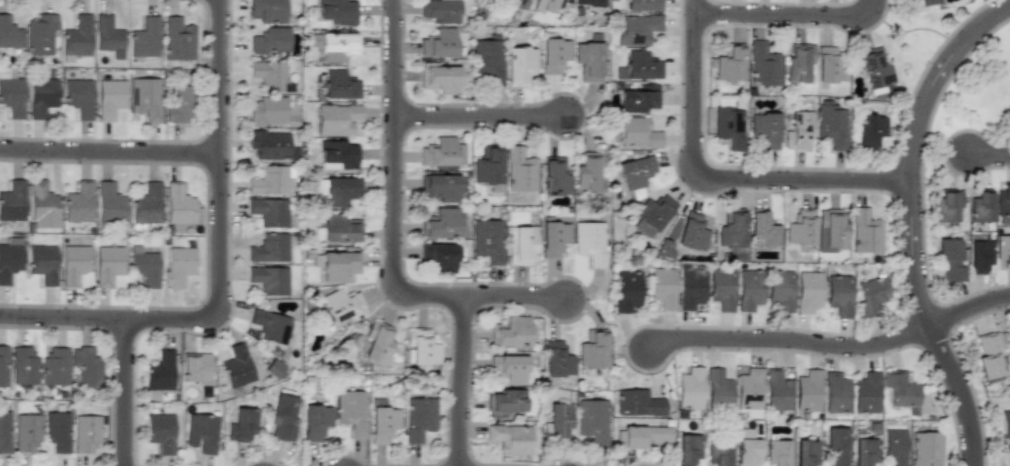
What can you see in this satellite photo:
building: (518, 0)
building: (905, 0)
building: (588, 2)
building: (929, 2)
building: (545, 5)
building: (643, 5)
building: (268, 10)
building: (441, 10)
building: (339, 11)
road: (789, 16)
building: (637, 29)
building: (9, 33)
building: (40, 34)
building: (107, 34)
building: (77, 36)
building: (145, 38)
building: (179, 40)
building: (270, 40)
building: (439, 43)
building: (338, 46)
building: (555, 55)
building: (589, 59)
building: (488, 60)
building: (797, 63)
building: (730, 64)
building: (763, 64)
building: (827, 64)
building: (519, 65)
building: (874, 68)
building: (270, 76)
building: (439, 78)
building: (340, 85)
building: (12, 93)
building: (42, 96)
building: (79, 97)
park: (978, 97)
building: (110, 98)
building: (146, 98)
building: (639, 99)
building: (178, 104)
building: (268, 111)
road: (477, 117)
building: (337, 119)
building: (831, 124)
building: (729, 126)
building: (765, 129)
building: (797, 130)
building: (870, 130)
building: (637, 133)
building: (269, 144)
building: (443, 152)
road: (108, 155)
building: (338, 155)
road: (988, 157)
building: (488, 166)
building: (520, 170)
building: (587, 172)
building: (635, 175)
building: (555, 176)
road: (714, 180)
building: (270, 181)
road: (392, 183)
building: (441, 187)
building: (341, 190)
building: (12, 201)
building: (1002, 201)
building: (78, 202)
building: (110, 203)
building: (146, 204)
building: (179, 205)
building: (42, 206)
building: (946, 206)
building: (980, 207)
building: (269, 211)
building: (652, 214)
road: (909, 222)
building: (800, 227)
building: (731, 228)
building: (340, 229)
building: (830, 229)
building: (761, 230)
building: (692, 232)
building: (865, 232)
building: (554, 238)
building: (488, 240)
building: (590, 242)
building: (522, 246)
building: (269, 248)
building: (1003, 250)
building: (440, 256)
building: (979, 256)
building: (10, 258)
building: (949, 260)
building: (42, 263)
building: (73, 263)
building: (107, 264)
building: (338, 265)
building: (144, 266)
building: (178, 266)
road: (217, 270)
building: (269, 280)
building: (662, 287)
building: (690, 287)
building: (721, 288)
building: (749, 289)
building: (780, 290)
building: (626, 291)
building: (807, 291)
building: (838, 295)
building: (871, 295)
road: (513, 298)
building: (342, 305)
road: (968, 309)
building: (270, 326)
building: (510, 331)
road: (787, 339)
building: (377, 342)
building: (422, 346)
building: (592, 350)
building: (988, 355)
building: (556, 359)
building: (3, 366)
building: (23, 366)
building: (54, 366)
building: (86, 366)
building: (236, 366)
building: (195, 367)
building: (509, 368)
building: (159, 371)
road: (459, 381)
building: (690, 388)
building: (717, 389)
building: (749, 389)
building: (900, 389)
building: (776, 391)
building: (807, 391)
building: (835, 393)
building: (866, 393)
road: (122, 394)
building: (504, 402)
building: (637, 403)
building: (351, 411)
building: (282, 418)
building: (419, 418)
building: (558, 420)
building: (592, 420)
building: (315, 422)
building: (383, 424)
building: (241, 425)
building: (1005, 427)
building: (57, 431)
building: (4, 432)
building: (160, 432)
building: (26, 433)
building: (201, 433)
building: (85, 434)
building: (641, 436)
building: (510, 439)
building: (836, 445)
building: (895, 446)
building: (687, 449)
building: (926, 449)
building: (864, 451)
building: (718, 452)
building: (747, 452)
building: (776, 452)
building: (805, 453)

